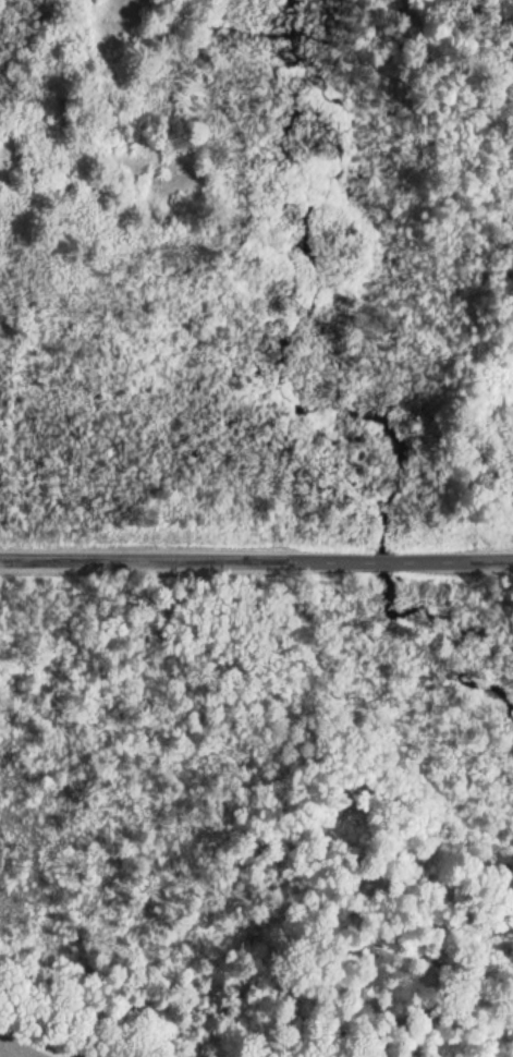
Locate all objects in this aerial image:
road: (256, 555)
road: (256, 1032)

